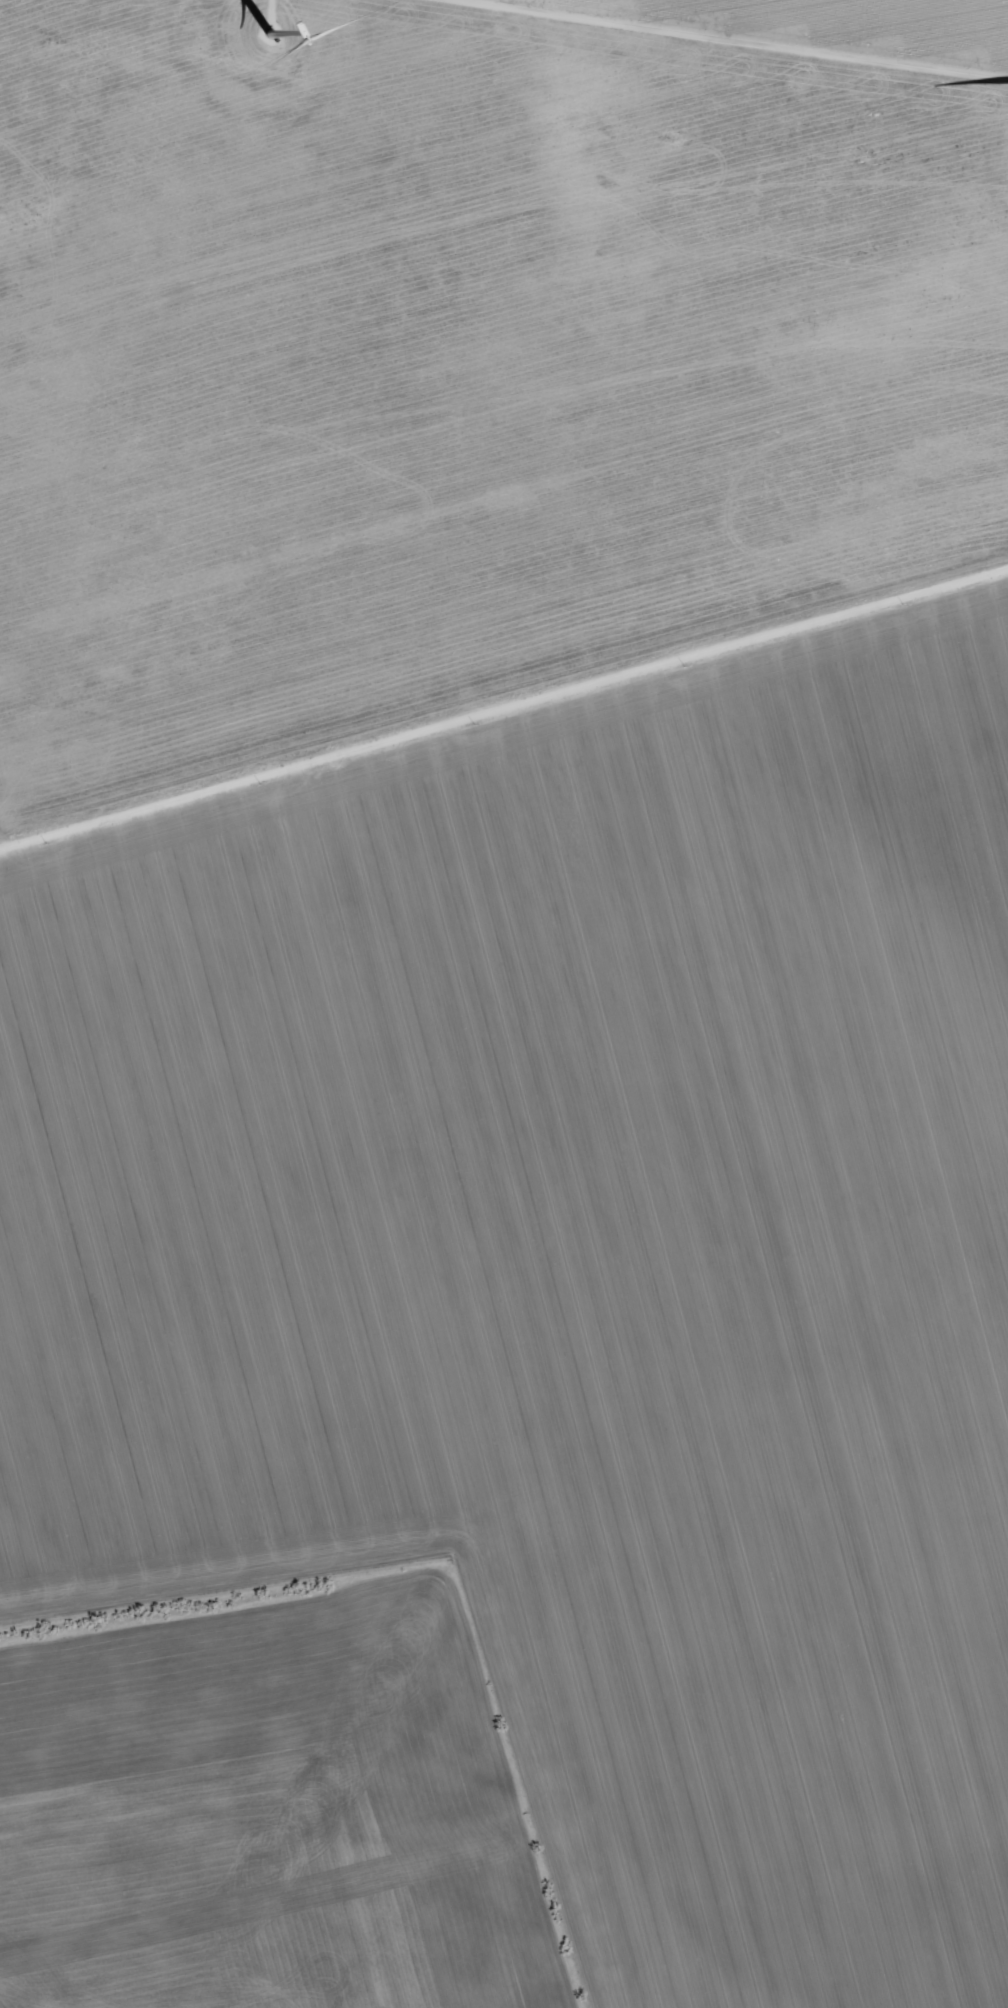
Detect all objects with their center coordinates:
wind turbine: (268, 33)
road: (504, 736)

